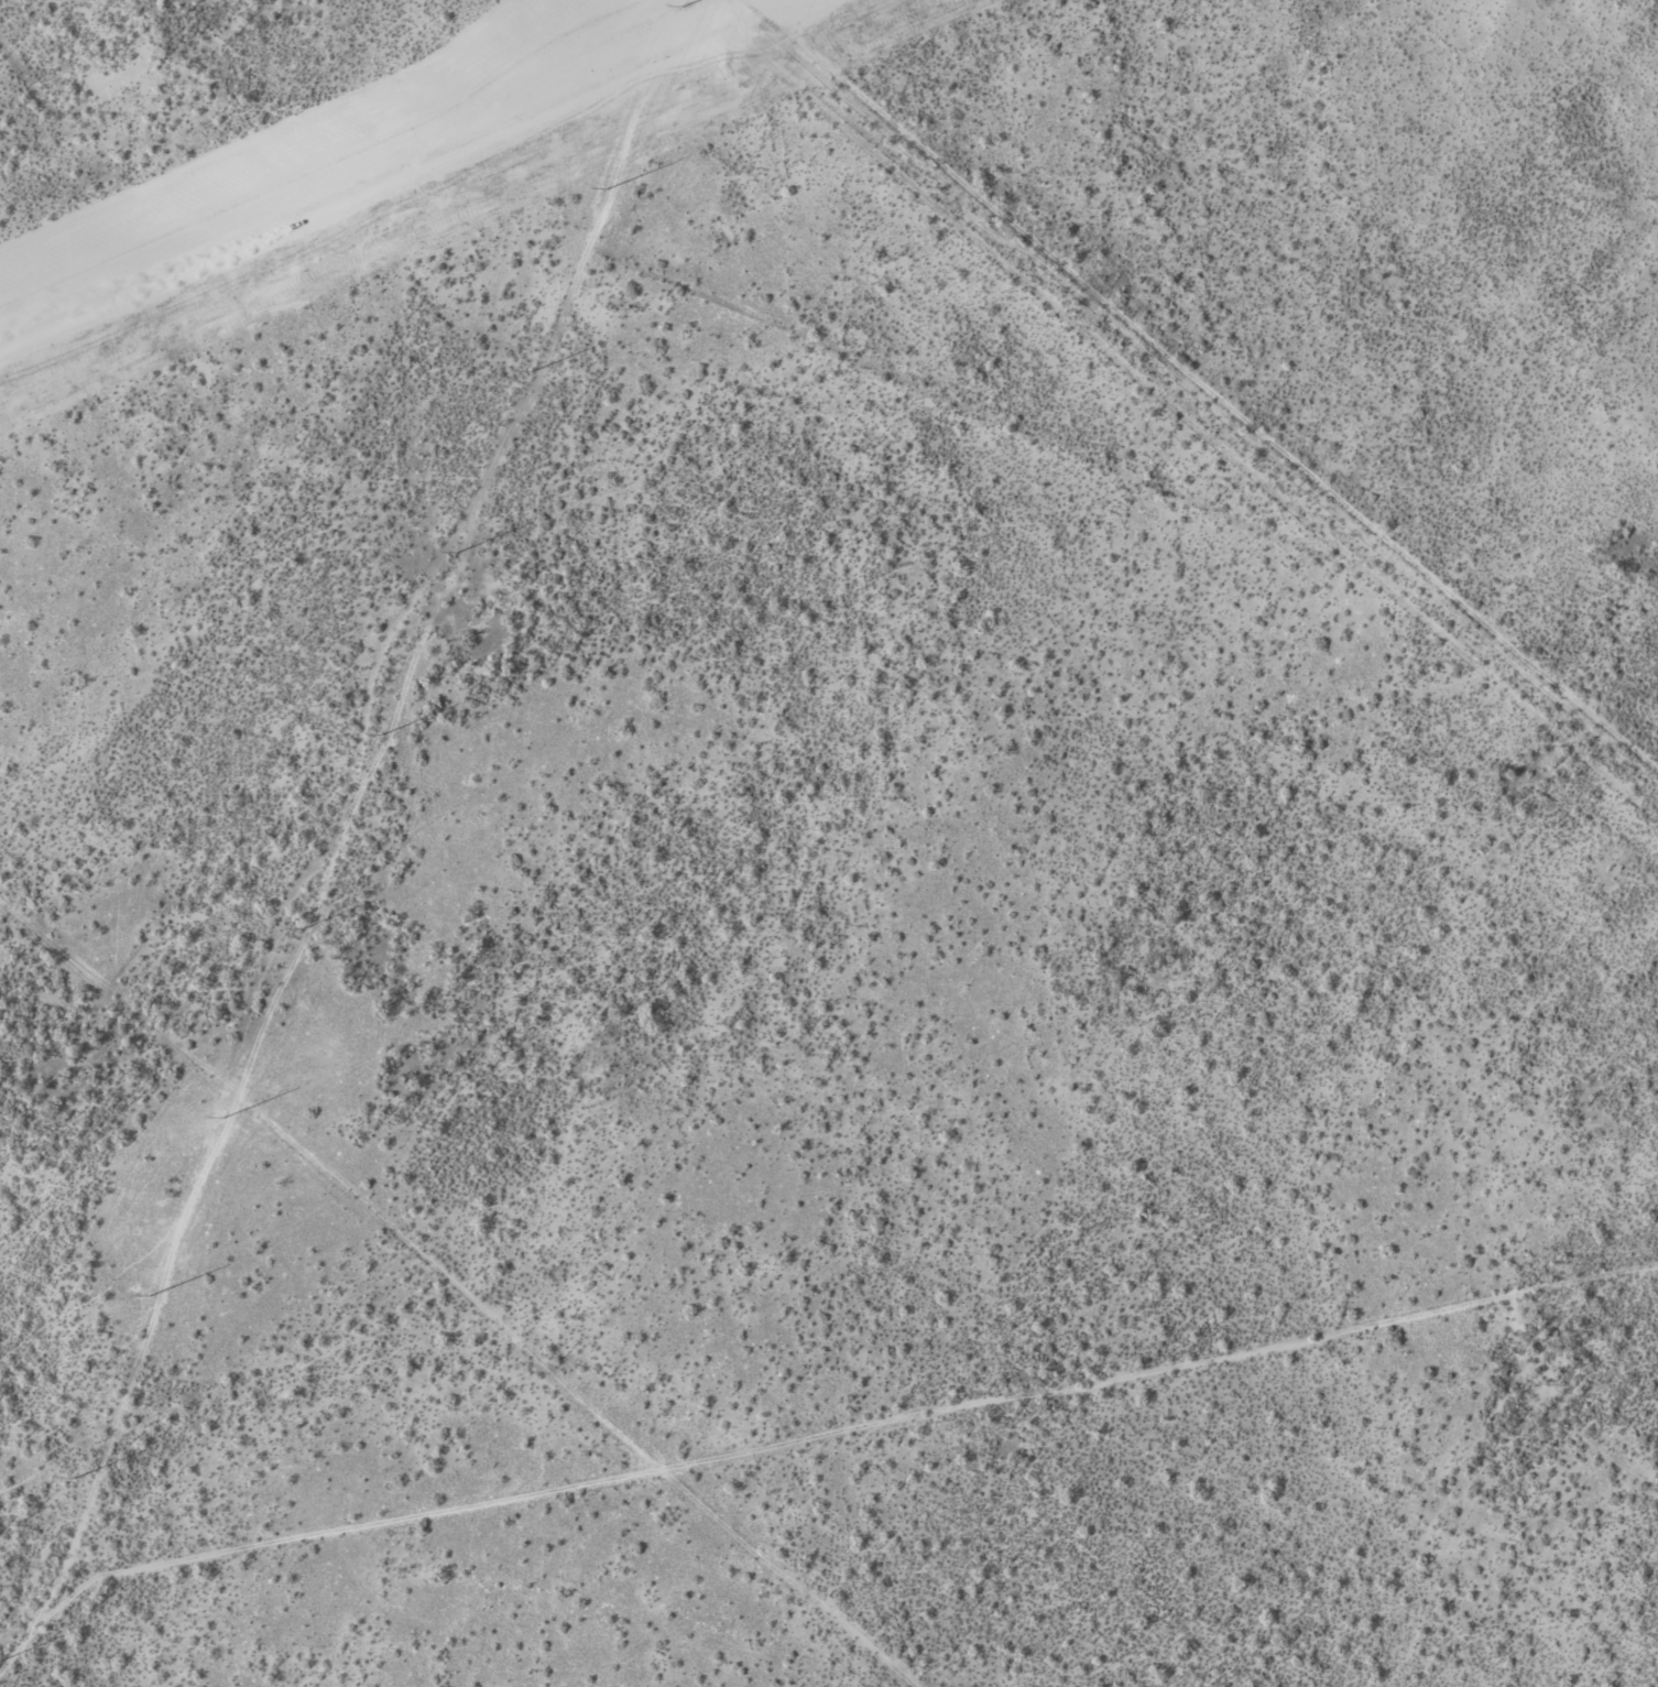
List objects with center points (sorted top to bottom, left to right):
power tower: (681, 8)
power tower: (606, 189)
power tower: (530, 372)
power tower: (455, 553)
power tower: (381, 734)
power tower: (299, 929)
power tower: (221, 1119)
power tower: (148, 1295)
power tower: (74, 1479)

